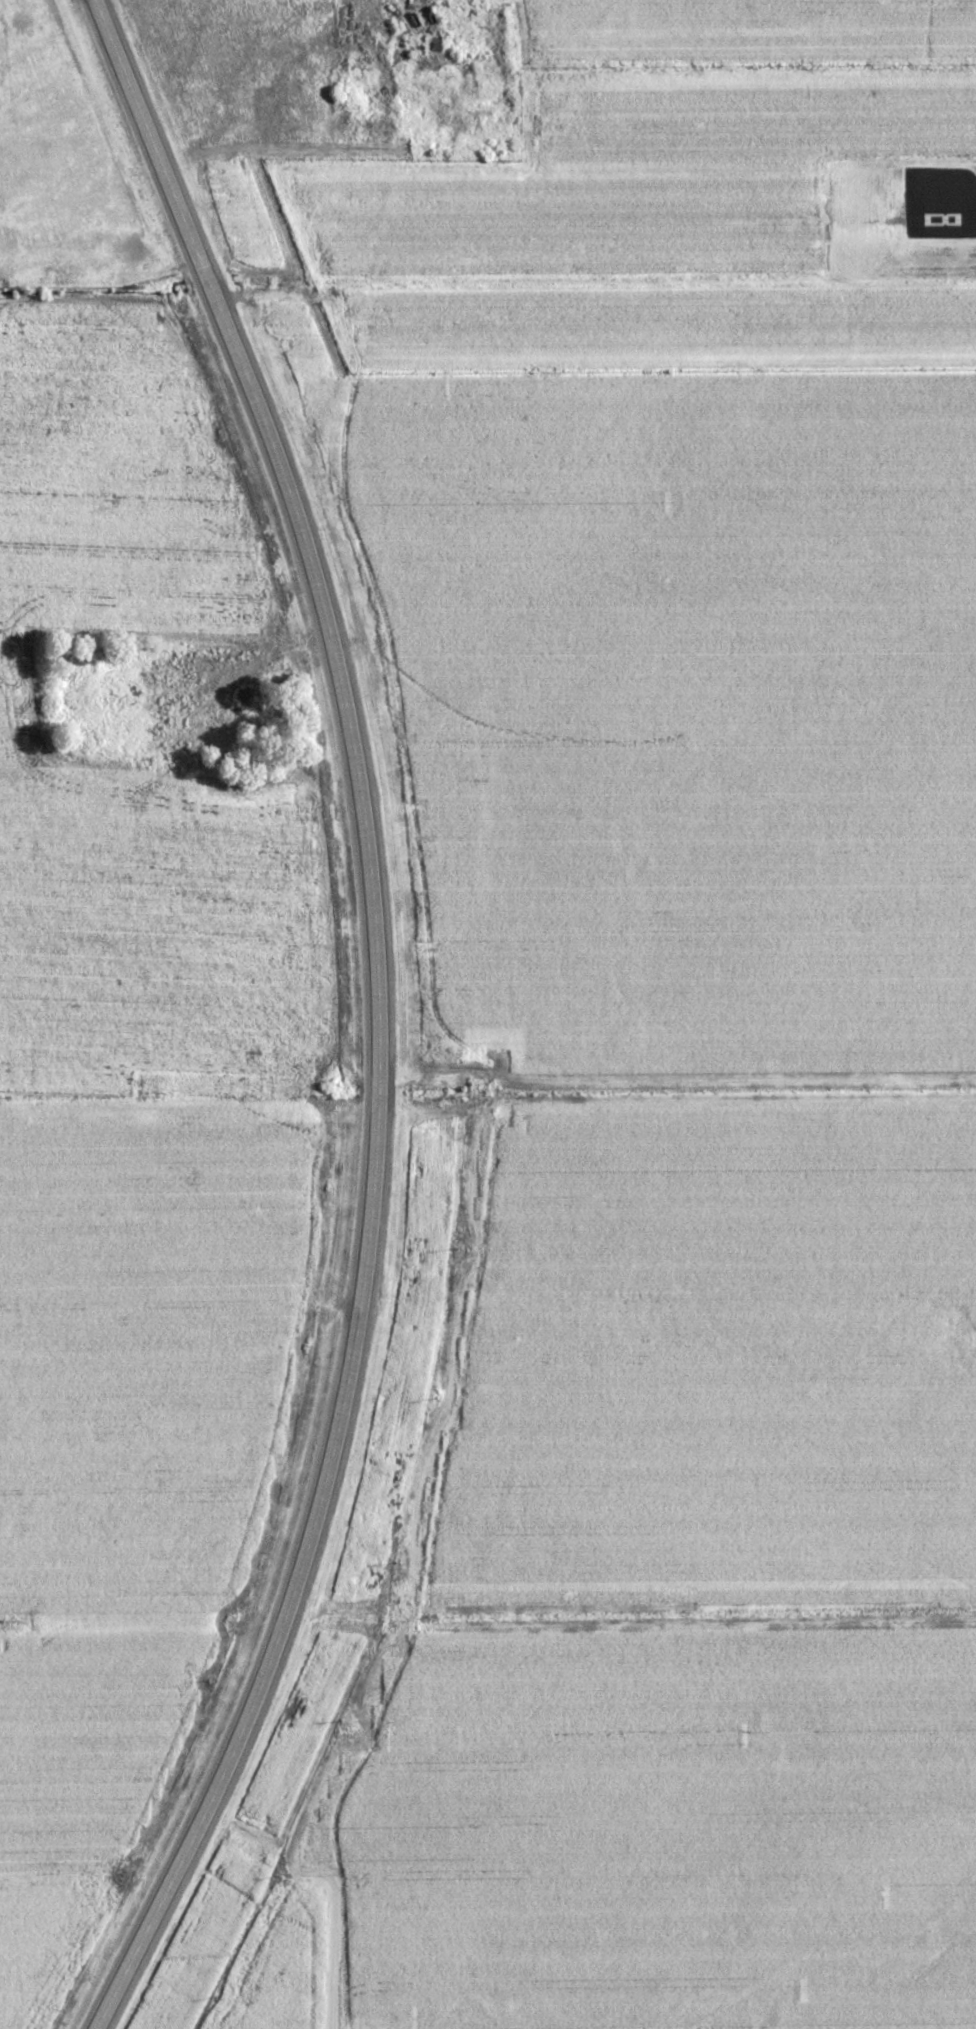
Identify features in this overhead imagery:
airport runway: (942, 217)
building: (942, 220)
airport: (899, 221)
road: (377, 1017)
road: (683, 1293)
road: (180, 1297)
building: (636, 1320)

